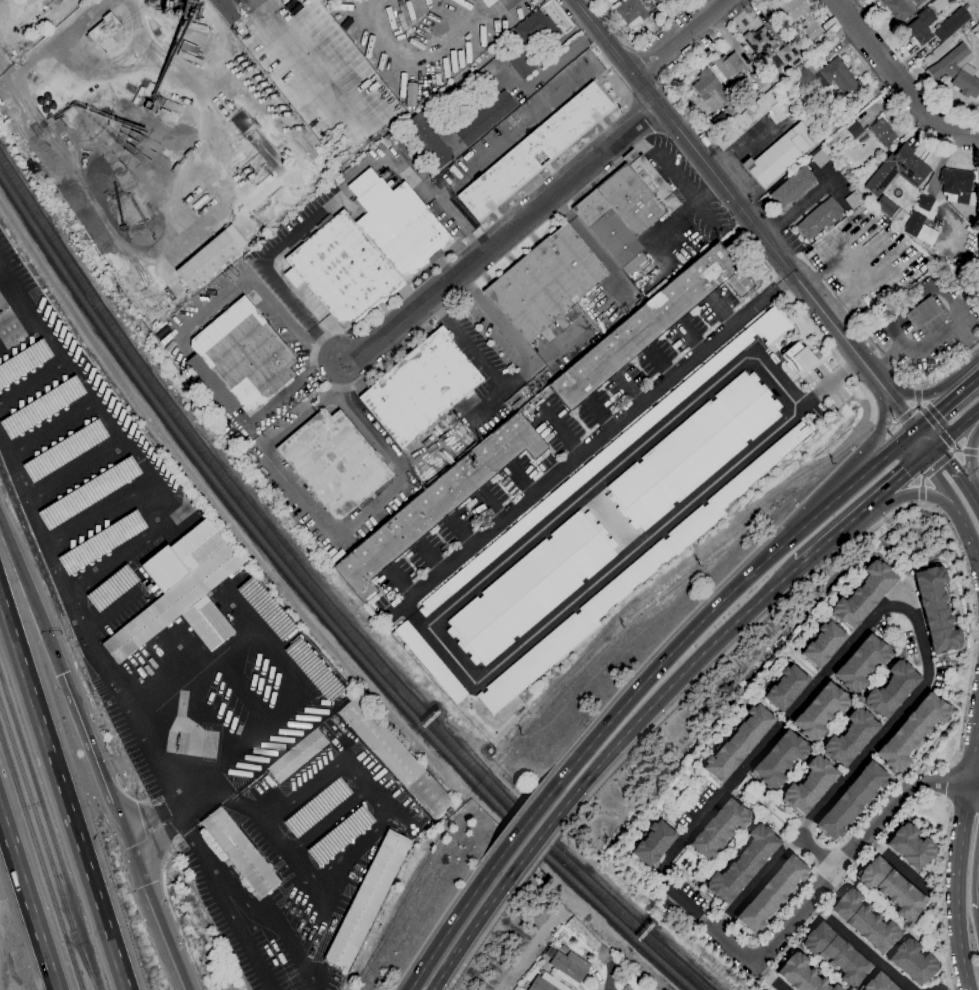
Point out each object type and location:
building: (641, 0)
building: (655, 1)
building: (487, 2)
building: (938, 5)
building: (900, 8)
building: (223, 11)
building: (629, 12)
building: (809, 21)
road: (78, 23)
building: (950, 24)
building: (919, 27)
building: (536, 28)
building: (963, 29)
building: (104, 32)
road: (678, 37)
building: (633, 42)
building: (759, 42)
building: (819, 42)
building: (187, 52)
building: (787, 52)
road: (560, 61)
building: (521, 62)
building: (921, 64)
building: (790, 65)
building: (729, 67)
building: (489, 71)
building: (957, 71)
building: (827, 77)
road: (898, 78)
building: (759, 79)
building: (714, 94)
railway: (14, 100)
building: (751, 118)
building: (484, 119)
building: (854, 130)
building: (881, 133)
building: (427, 140)
building: (847, 140)
building: (257, 143)
road: (495, 143)
building: (826, 143)
building: (533, 150)
building: (779, 155)
building: (819, 158)
building: (274, 163)
building: (897, 170)
building: (420, 174)
building: (978, 175)
building: (384, 176)
building: (955, 185)
building: (792, 187)
building: (853, 200)
building: (884, 205)
building: (625, 207)
building: (899, 217)
building: (818, 218)
building: (921, 220)
road: (752, 224)
road: (296, 227)
road: (503, 236)
road: (590, 243)
building: (366, 252)
building: (210, 257)
building: (545, 282)
road: (923, 283)
road: (259, 293)
road: (21, 297)
building: (922, 313)
road: (808, 322)
building: (648, 324)
road: (891, 331)
building: (160, 332)
parking lot: (929, 337)
road: (930, 341)
building: (801, 357)
road: (887, 359)
building: (239, 360)
building: (23, 361)
road: (520, 373)
road: (32, 378)
road: (298, 380)
road: (827, 382)
road: (924, 384)
road: (974, 384)
building: (419, 388)
road: (917, 388)
road: (918, 395)
building: (40, 407)
road: (942, 411)
road: (903, 417)
road: (882, 424)
road: (52, 427)
road: (954, 433)
traffic signals: (916, 435)
road: (943, 436)
road: (592, 446)
traffic signals: (928, 449)
building: (63, 450)
building: (691, 450)
road: (972, 450)
road: (977, 451)
building: (610, 452)
road: (132, 454)
building: (333, 462)
road: (75, 470)
road: (928, 471)
road: (937, 475)
road: (957, 477)
road: (520, 481)
building: (87, 493)
road: (913, 494)
building: (435, 503)
road: (919, 503)
road: (861, 505)
road: (489, 507)
road: (610, 520)
road: (343, 526)
road: (459, 532)
road: (967, 532)
road: (141, 540)
building: (99, 542)
road: (429, 557)
road: (399, 583)
building: (625, 583)
building: (529, 587)
building: (110, 588)
building: (181, 591)
building: (863, 594)
road: (31, 597)
railway: (323, 598)
road: (898, 605)
road: (964, 606)
railway: (316, 607)
road: (712, 607)
building: (264, 609)
building: (935, 609)
road: (110, 611)
road: (237, 611)
road: (413, 617)
road: (425, 628)
building: (823, 644)
road: (77, 652)
building: (428, 661)
building: (860, 663)
road: (102, 664)
building: (312, 669)
road: (190, 671)
building: (952, 677)
road: (668, 686)
building: (786, 687)
road: (242, 688)
building: (891, 689)
building: (820, 711)
road: (209, 715)
building: (912, 732)
building: (850, 737)
road: (248, 741)
building: (738, 743)
building: (489, 751)
building: (296, 756)
building: (394, 757)
building: (779, 759)
road: (95, 760)
road: (966, 763)
road: (976, 767)
road: (315, 778)
road: (949, 780)
building: (809, 785)
road: (63, 791)
road: (961, 800)
building: (852, 801)
building: (316, 807)
road: (326, 821)
road: (524, 823)
building: (718, 828)
railway: (51, 829)
building: (428, 829)
road: (271, 835)
building: (338, 836)
road: (538, 837)
building: (653, 843)
road: (363, 844)
railway: (46, 845)
road: (548, 846)
building: (910, 847)
road: (857, 849)
road: (818, 851)
building: (239, 852)
railway: (41, 859)
building: (743, 863)
road: (897, 864)
road: (959, 886)
building: (892, 888)
building: (771, 894)
road: (232, 895)
road: (939, 895)
building: (366, 900)
road: (27, 902)
road: (458, 913)
road: (155, 919)
road: (476, 920)
building: (864, 921)
road: (488, 924)
road: (738, 945)
road: (859, 945)
building: (563, 949)
building: (836, 954)
building: (912, 961)
building: (620, 965)
building: (569, 968)
building: (800, 974)
road: (774, 977)
building: (545, 983)
building: (878, 983)

